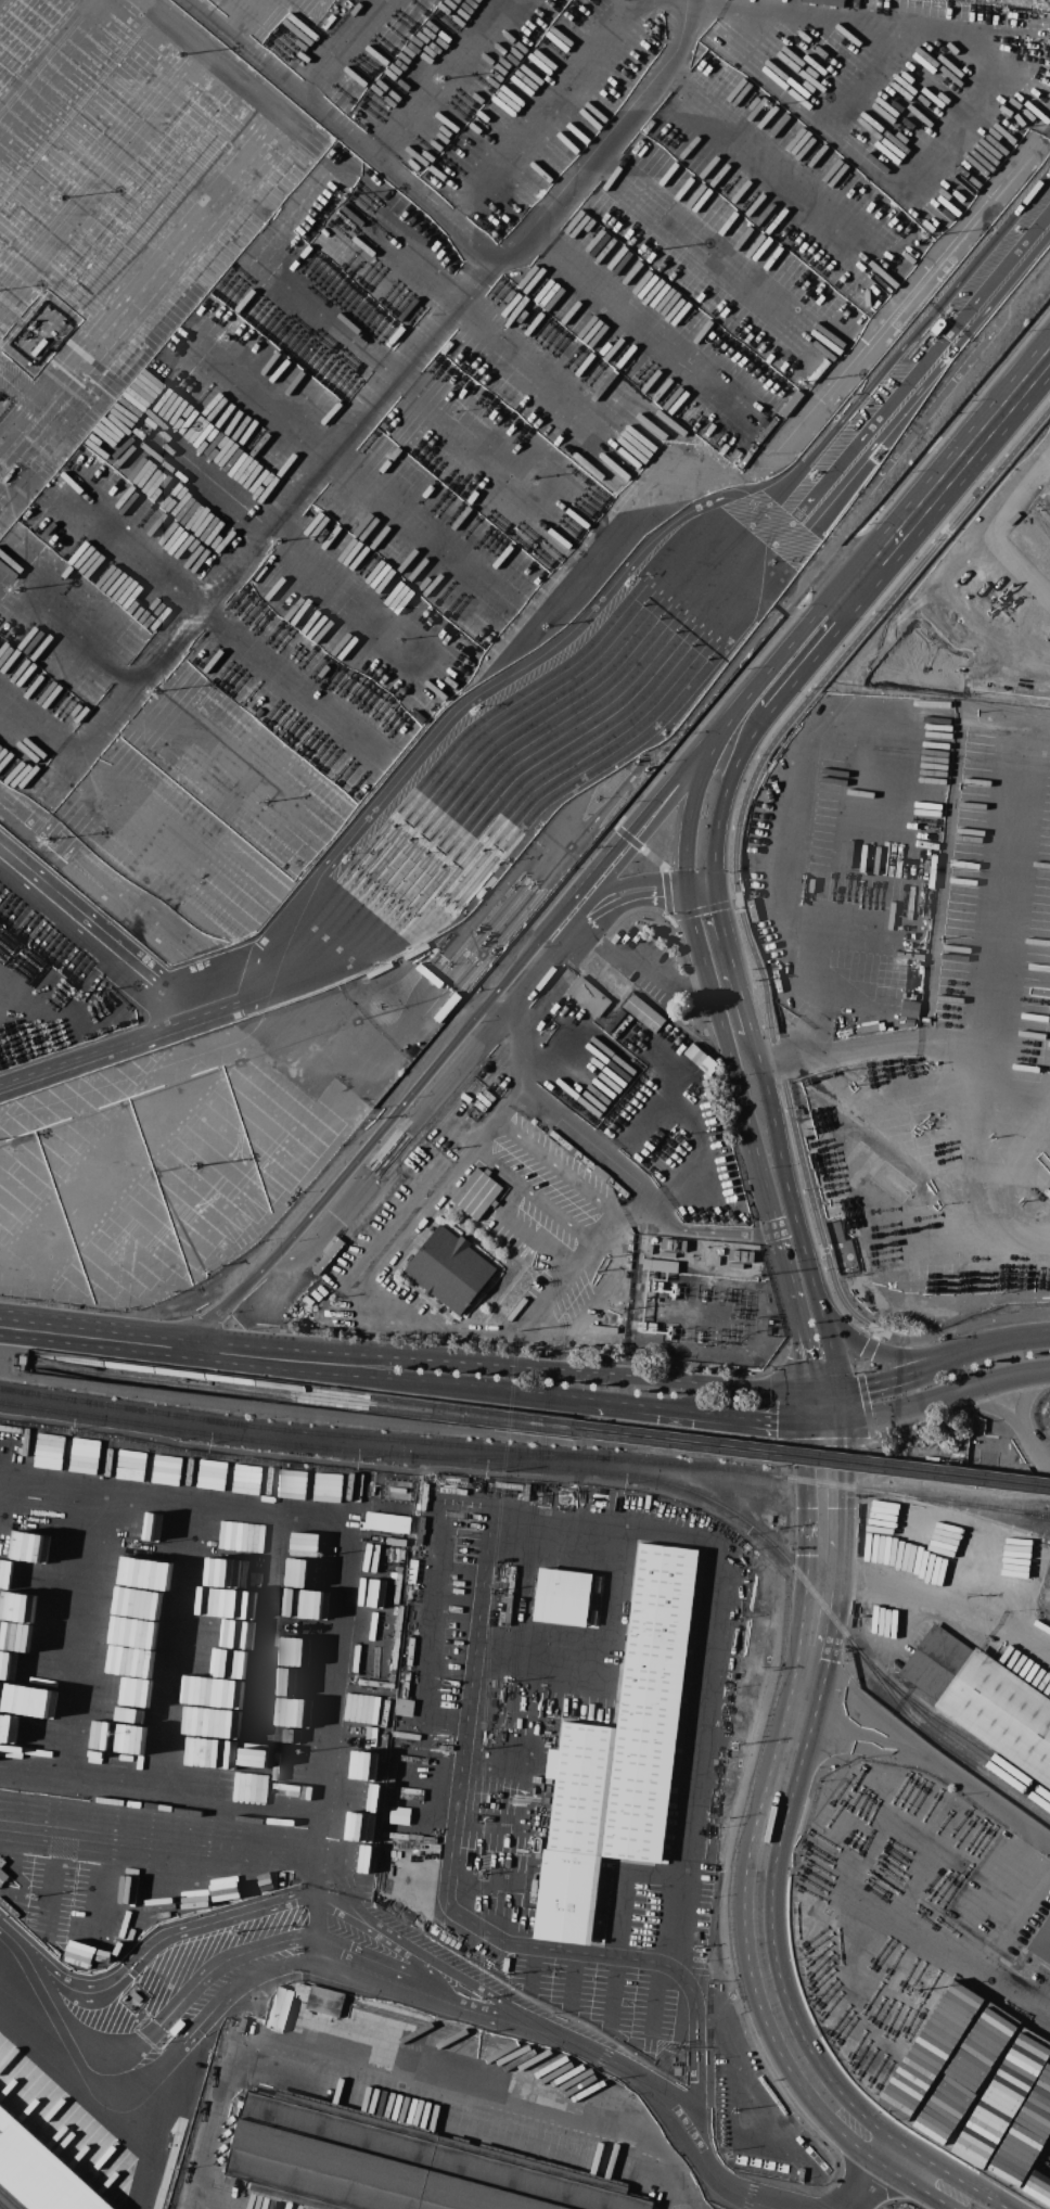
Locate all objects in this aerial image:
road: (650, 2)
building: (827, 2)
road: (7, 8)
road: (851, 13)
road: (344, 50)
road: (434, 77)
road: (546, 114)
road: (603, 133)
road: (99, 162)
road: (191, 215)
road: (450, 219)
road: (763, 284)
road: (488, 315)
road: (400, 379)
road: (347, 467)
road: (1038, 491)
road: (285, 511)
road: (899, 534)
road: (291, 545)
road: (1014, 572)
road: (942, 575)
parking lot: (998, 589)
road: (658, 608)
road: (235, 629)
road: (155, 705)
road: (471, 717)
road: (737, 737)
road: (798, 775)
road: (596, 778)
road: (95, 781)
road: (737, 831)
road: (639, 847)
traffic signals: (687, 878)
road: (620, 886)
traffic signals: (716, 886)
traffic signals: (688, 891)
road: (668, 892)
road: (616, 903)
road: (704, 909)
road: (98, 934)
road: (125, 935)
road: (832, 935)
road: (998, 955)
road: (201, 976)
road: (712, 991)
building: (589, 996)
road: (746, 1013)
road: (468, 1030)
building: (666, 1040)
road: (117, 1047)
road: (845, 1047)
road: (551, 1111)
road: (648, 1112)
road: (562, 1171)
building: (477, 1193)
road: (529, 1197)
road: (701, 1197)
road: (786, 1226)
road: (607, 1235)
building: (661, 1265)
building: (450, 1269)
road: (606, 1288)
power substation: (700, 1303)
road: (397, 1308)
road: (793, 1311)
building: (646, 1327)
road: (962, 1328)
road: (825, 1329)
road: (93, 1336)
road: (1022, 1343)
road: (881, 1352)
road: (867, 1353)
road: (959, 1359)
road: (497, 1365)
railway: (199, 1374)
road: (388, 1379)
road: (881, 1382)
railway: (196, 1387)
traffic signals: (807, 1393)
road: (823, 1393)
traffic signals: (840, 1393)
road: (946, 1394)
road: (807, 1407)
road: (841, 1407)
road: (866, 1408)
road: (668, 1409)
road: (774, 1422)
traffic signals: (807, 1422)
road: (824, 1422)
traffic signals: (843, 1422)
road: (392, 1425)
railway: (210, 1433)
railway: (390, 1439)
railway: (708, 1439)
road: (830, 1443)
railway: (708, 1448)
railway: (507, 1457)
road: (841, 1468)
road: (807, 1469)
railway: (917, 1497)
road: (508, 1507)
railway: (1015, 1508)
railway: (981, 1518)
road: (332, 1519)
building: (386, 1522)
railway: (774, 1547)
building: (564, 1597)
road: (56, 1603)
road: (938, 1609)
road: (178, 1644)
building: (984, 1700)
building: (404, 1707)
railway: (949, 1748)
railway: (969, 1748)
building: (620, 1754)
road: (934, 1765)
road: (496, 1771)
building: (399, 1815)
road: (495, 1817)
road: (161, 1831)
parking lot: (501, 1850)
road: (320, 1873)
building: (2, 1876)
road: (145, 1879)
road: (483, 1882)
road: (625, 1889)
road: (761, 1903)
parking lot: (660, 1908)
road: (313, 1928)
road: (983, 1936)
building: (1042, 1941)
road: (145, 1951)
road: (530, 1968)
road: (411, 1976)
road: (573, 1979)
road: (478, 1987)
building: (302, 1990)
road: (615, 1992)
parking lot: (603, 1996)
road: (655, 1997)
building: (325, 2001)
building: (281, 2008)
road: (475, 2018)
road: (158, 2023)
road: (696, 2041)
road: (399, 2069)
road: (132, 2090)
road: (161, 2128)
road: (700, 2155)
building: (395, 2165)
building: (40, 2172)
road: (867, 2180)
railway: (9, 2199)
railway: (1, 2207)

